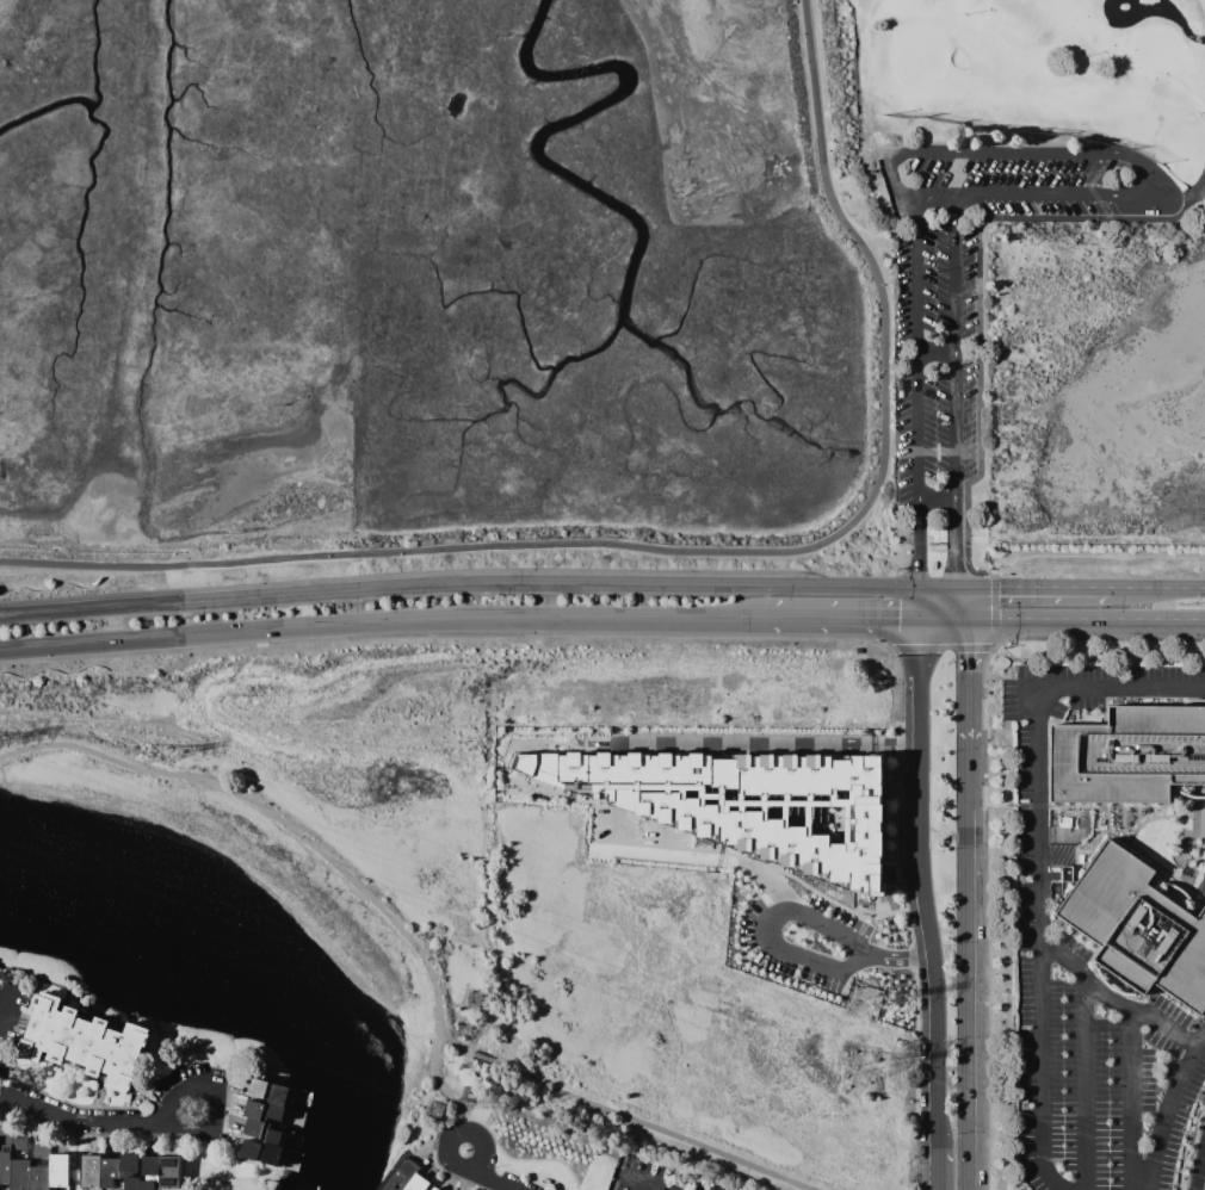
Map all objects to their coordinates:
park: (1031, 107)
road: (1101, 156)
road: (937, 196)
road: (1194, 199)
parking lot: (978, 278)
road: (978, 308)
road: (937, 352)
road: (917, 390)
road: (956, 391)
road: (871, 535)
road: (879, 538)
road: (860, 551)
road: (21, 563)
road: (935, 572)
road: (458, 584)
road: (937, 587)
road: (1032, 588)
road: (1157, 588)
road: (919, 602)
road: (960, 602)
road: (843, 616)
road: (943, 618)
road: (384, 619)
road: (1037, 619)
road: (1156, 620)
road: (717, 636)
road: (1110, 638)
road: (978, 649)
road: (966, 681)
road: (742, 743)
road: (909, 746)
power tower: (155, 755)
building: (1126, 755)
road: (501, 768)
road: (966, 776)
road: (530, 777)
road: (543, 782)
building: (743, 797)
road: (593, 798)
road: (1093, 805)
parking lot: (740, 807)
road: (1201, 808)
road: (1153, 813)
road: (1137, 817)
road: (1155, 817)
road: (1121, 824)
road: (685, 843)
road: (1195, 845)
road: (712, 849)
road: (319, 854)
road: (673, 856)
road: (1034, 856)
road: (1155, 864)
road: (922, 884)
road: (828, 899)
road: (879, 900)
road: (982, 904)
parking lot: (1107, 919)
parking lot: (798, 926)
building: (1137, 928)
road: (783, 948)
power tower: (474, 998)
road: (968, 999)
power tower: (861, 1003)
road: (1111, 1003)
road: (5, 1008)
power tower: (462, 1031)
building: (84, 1042)
power tower: (860, 1068)
road: (1, 1078)
road: (1083, 1083)
building: (267, 1091)
road: (208, 1096)
road: (1131, 1101)
road: (67, 1103)
road: (1166, 1108)
power tower: (435, 1109)
building: (261, 1110)
road: (624, 1114)
road: (84, 1126)
building: (261, 1130)
road: (1188, 1147)
building: (260, 1153)
road: (432, 1159)
building: (128, 1163)
building: (5, 1166)
building: (150, 1166)
building: (58, 1170)
building: (91, 1170)
building: (109, 1170)
road: (939, 1170)
building: (1137, 1171)
building: (169, 1173)
building: (19, 1174)
building: (398, 1174)
road: (482, 1176)
building: (39, 1178)
building: (131, 1183)
building: (147, 1184)
building: (419, 1184)
road: (1204, 1186)

